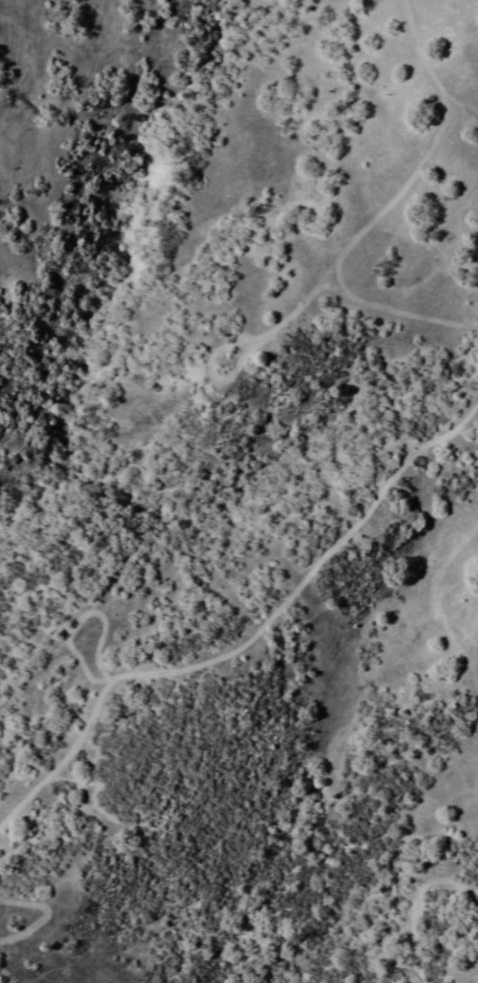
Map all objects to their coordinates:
road: (374, 215)

